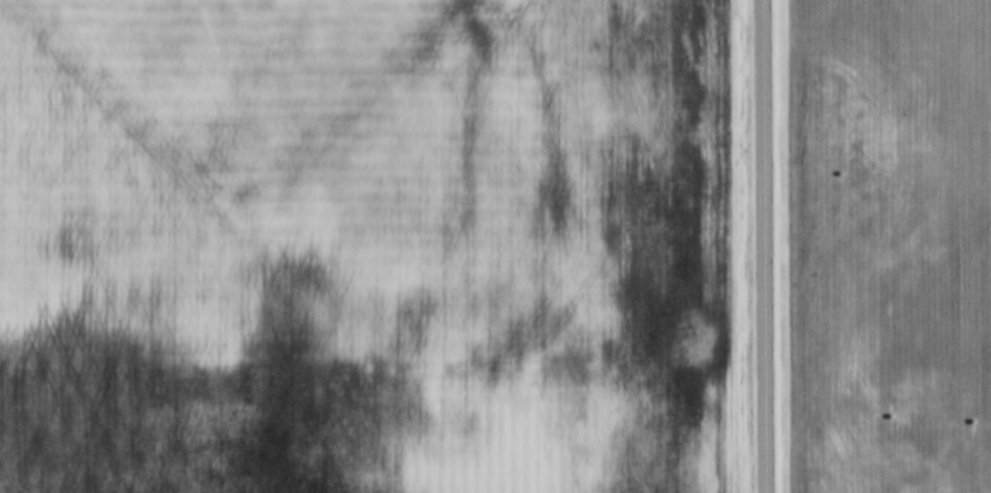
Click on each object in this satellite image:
road: (764, 246)

